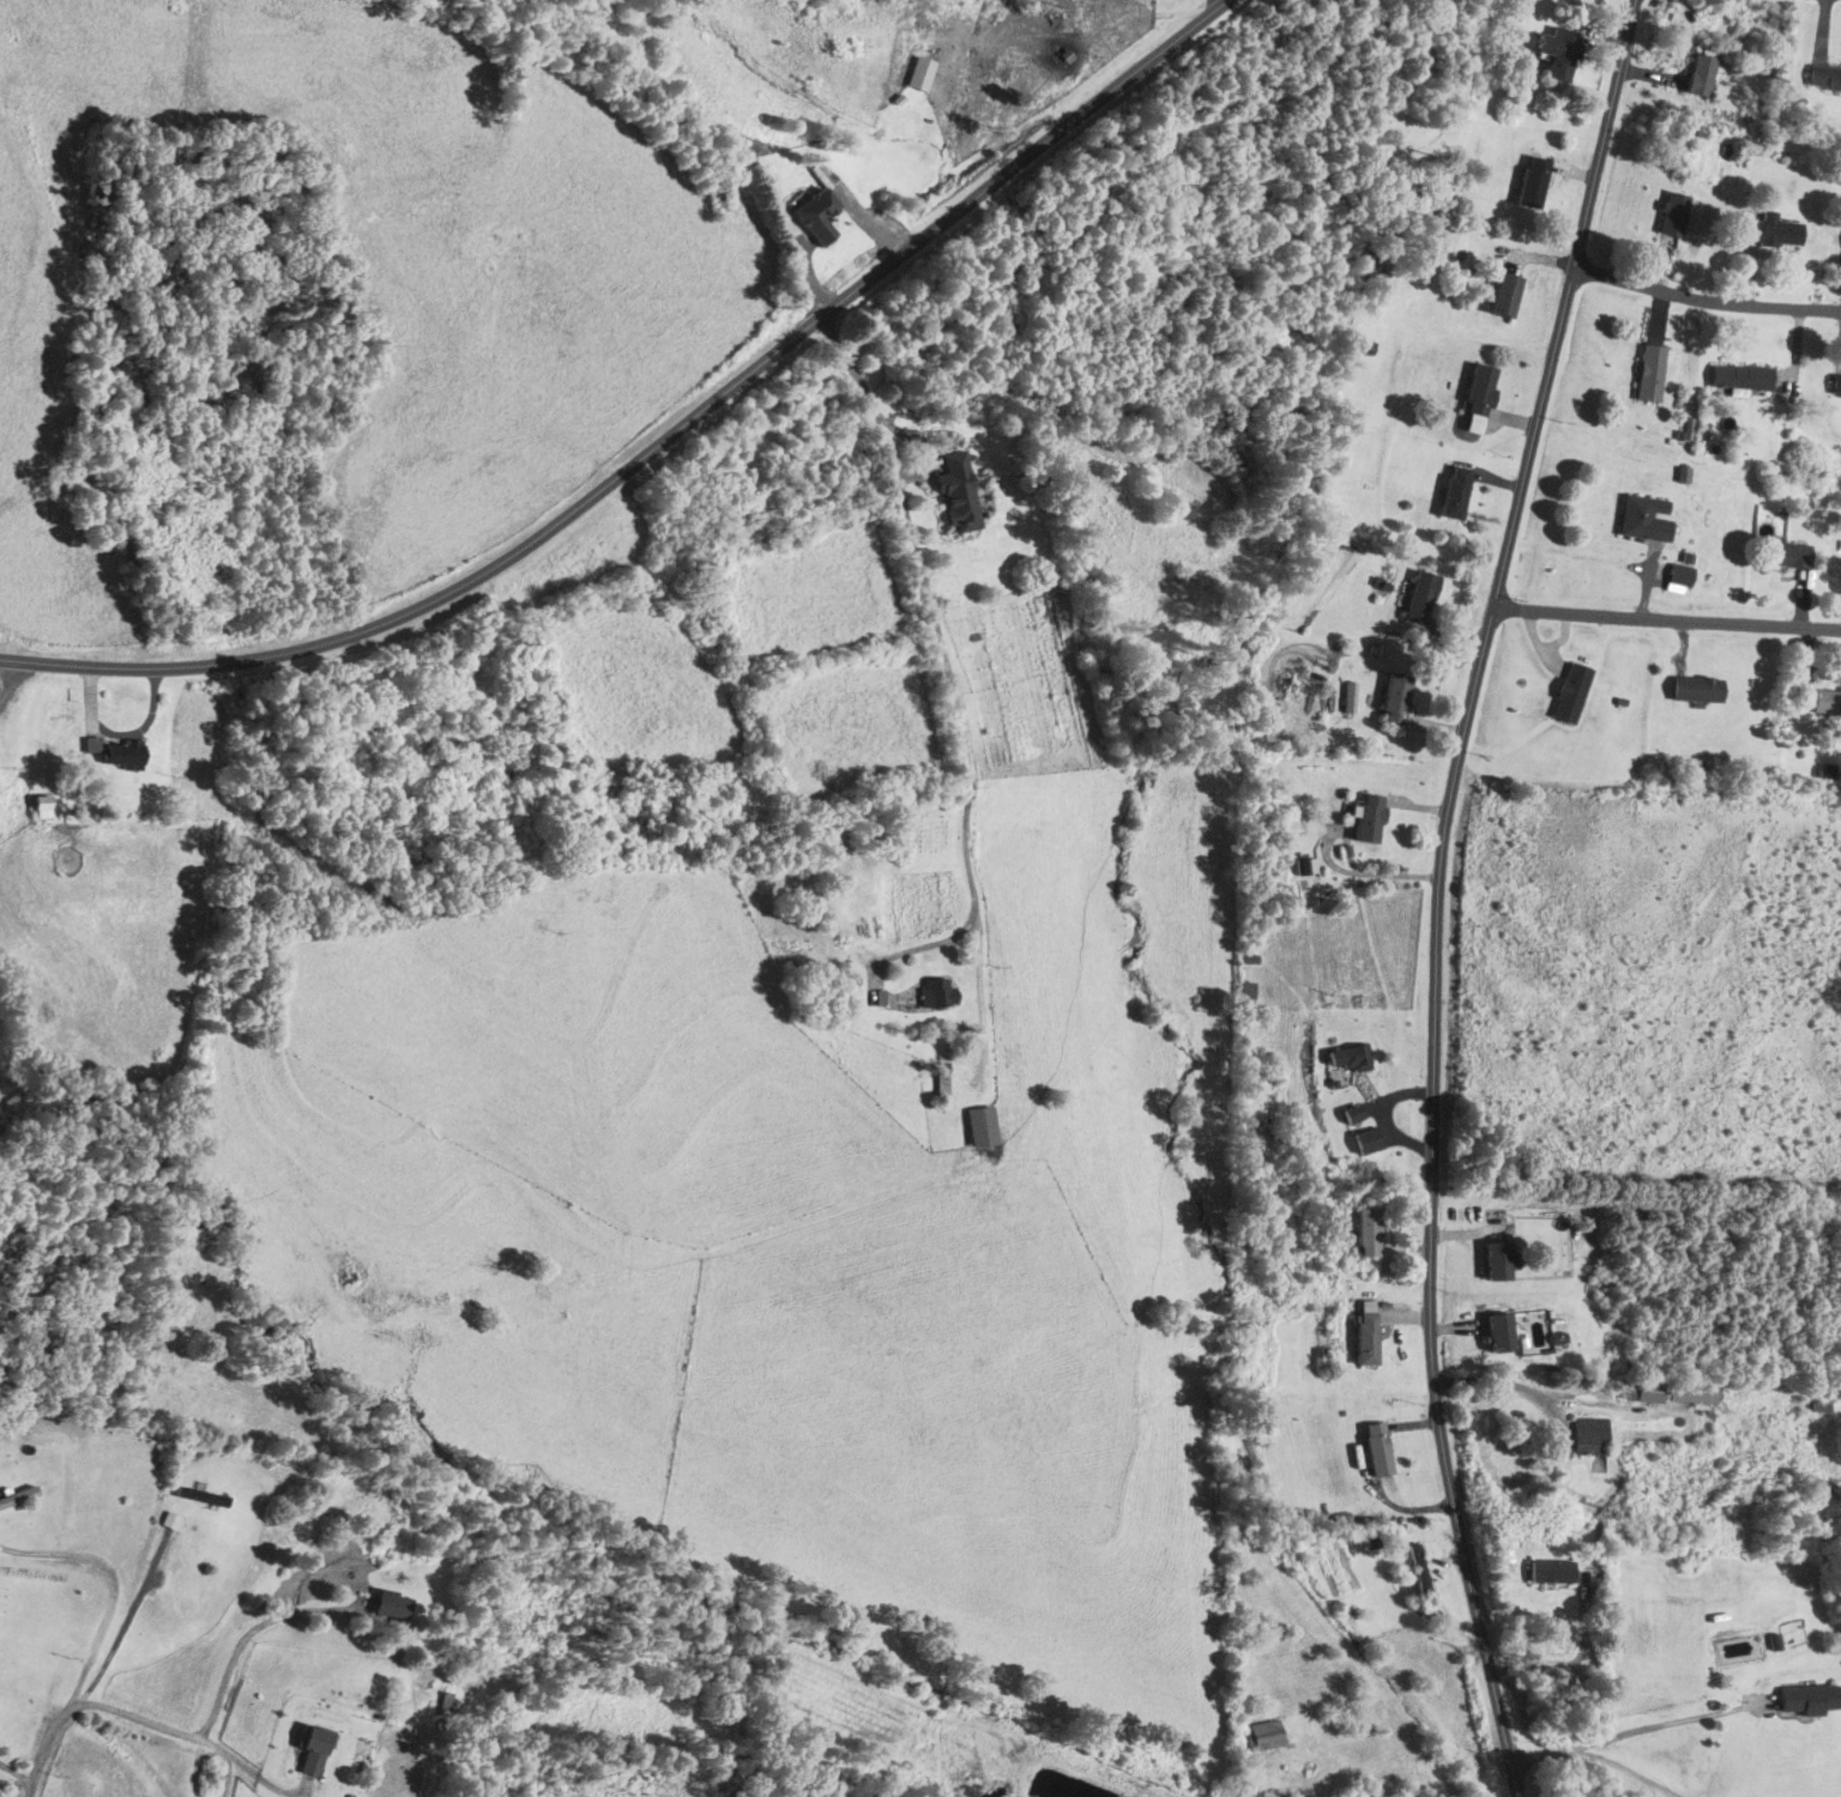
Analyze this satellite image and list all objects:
road: (1217, 2)
building: (1561, 52)
building: (1702, 73)
building: (1824, 78)
building: (1533, 182)
building: (1676, 213)
building: (816, 214)
building: (1770, 230)
building: (1376, 282)
building: (1505, 295)
road: (1706, 301)
building: (1652, 373)
building: (1742, 379)
building: (1836, 387)
building: (1479, 400)
road: (659, 443)
building: (1456, 494)
building: (956, 495)
building: (1647, 519)
building: (1788, 556)
building: (1680, 579)
building: (1422, 599)
road: (1667, 621)
road: (950, 686)
building: (1697, 690)
building: (1571, 694)
building: (1396, 697)
building: (1817, 702)
road: (1655, 725)
building: (115, 754)
building: (1369, 819)
road: (1438, 891)
road: (919, 943)
building: (937, 994)
building: (1351, 1059)
building: (941, 1082)
building: (1352, 1117)
building: (980, 1127)
building: (1368, 1142)
building: (1369, 1229)
building: (1499, 1261)
building: (1368, 1335)
building: (1501, 1335)
building: (1652, 1392)
building: (1694, 1393)
building: (1590, 1438)
building: (1377, 1451)
building: (201, 1497)
building: (17, 1499)
building: (170, 1521)
building: (1419, 1573)
building: (1552, 1573)
road: (115, 1589)
building: (391, 1607)
road: (247, 1635)
building: (1809, 1702)
road: (103, 1707)
road: (1658, 1726)
building: (1264, 1737)
building: (313, 1753)
road: (1595, 1755)
road: (224, 1775)

